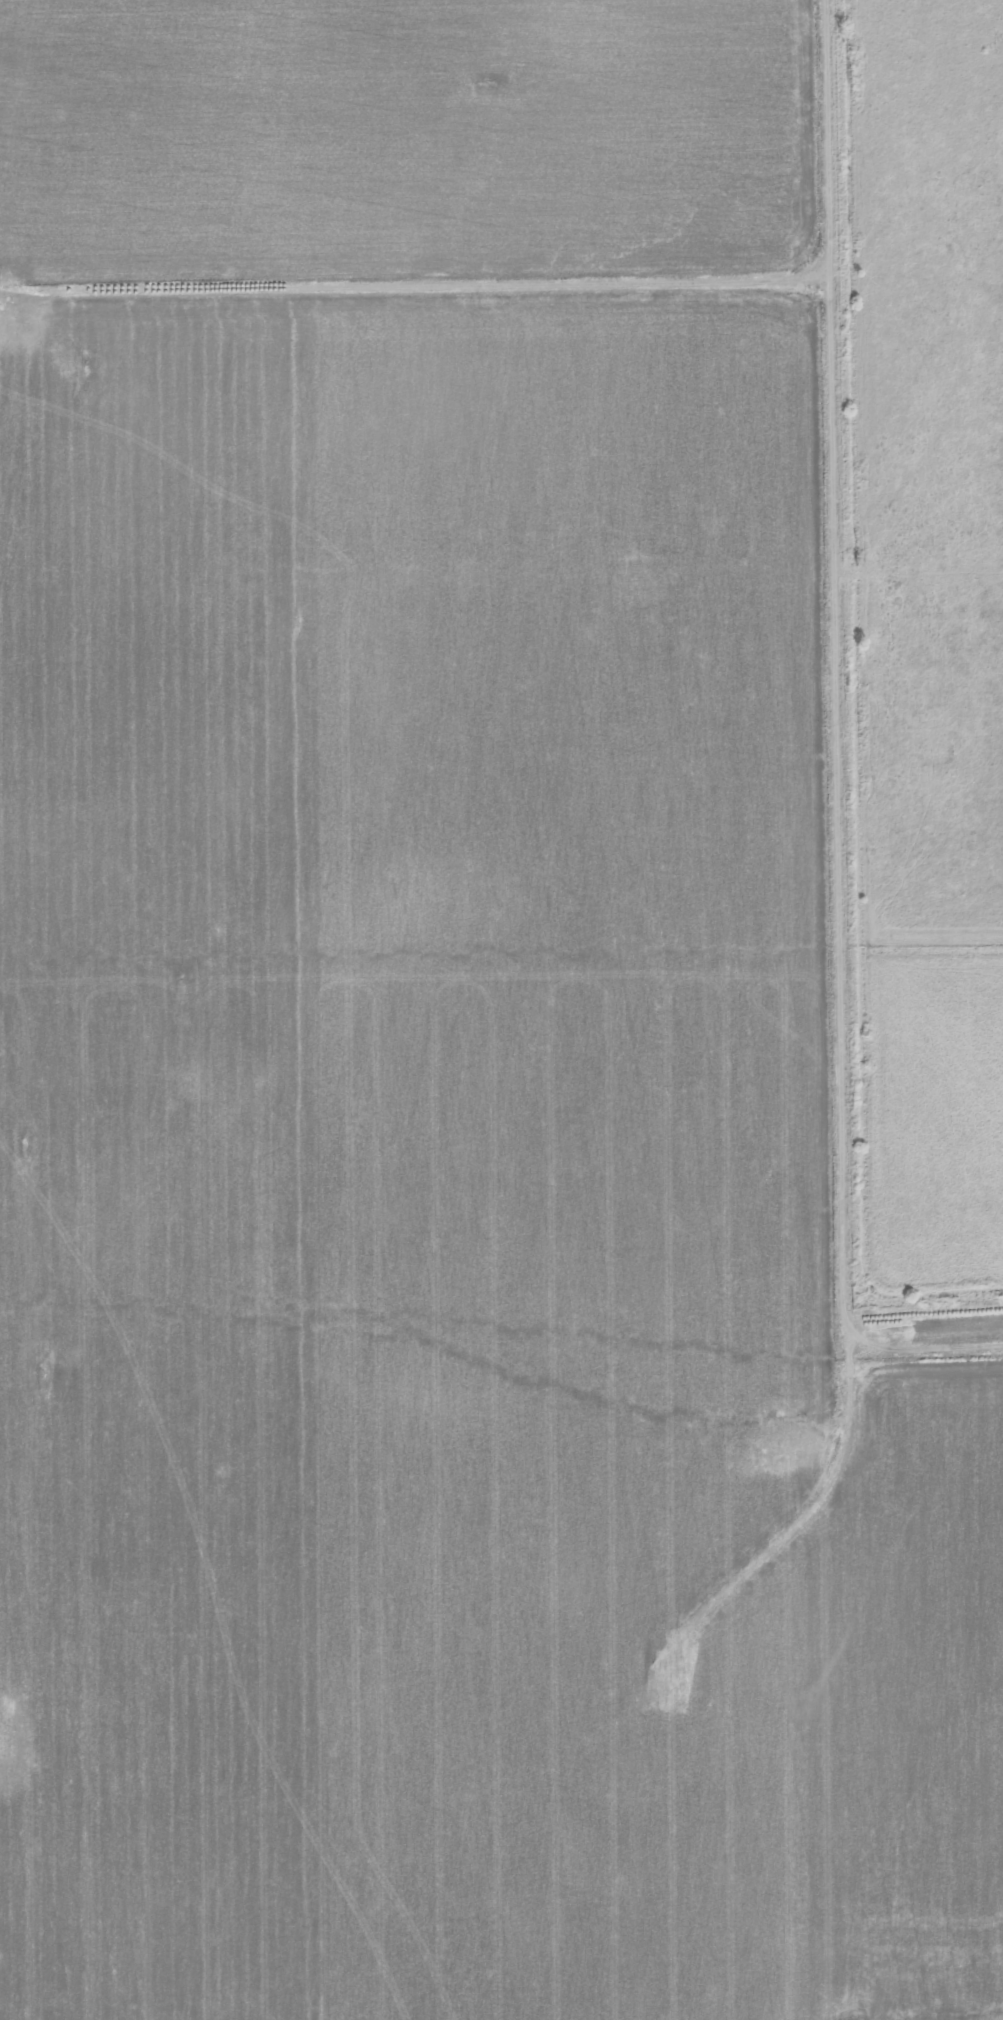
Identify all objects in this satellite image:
road: (833, 661)

